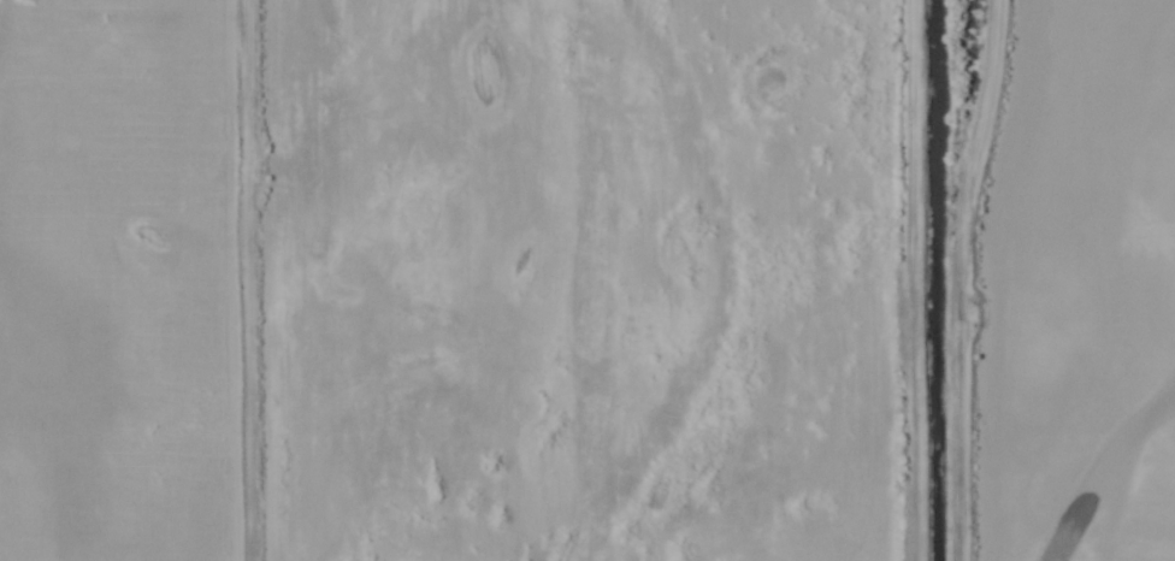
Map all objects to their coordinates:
road: (944, 280)

